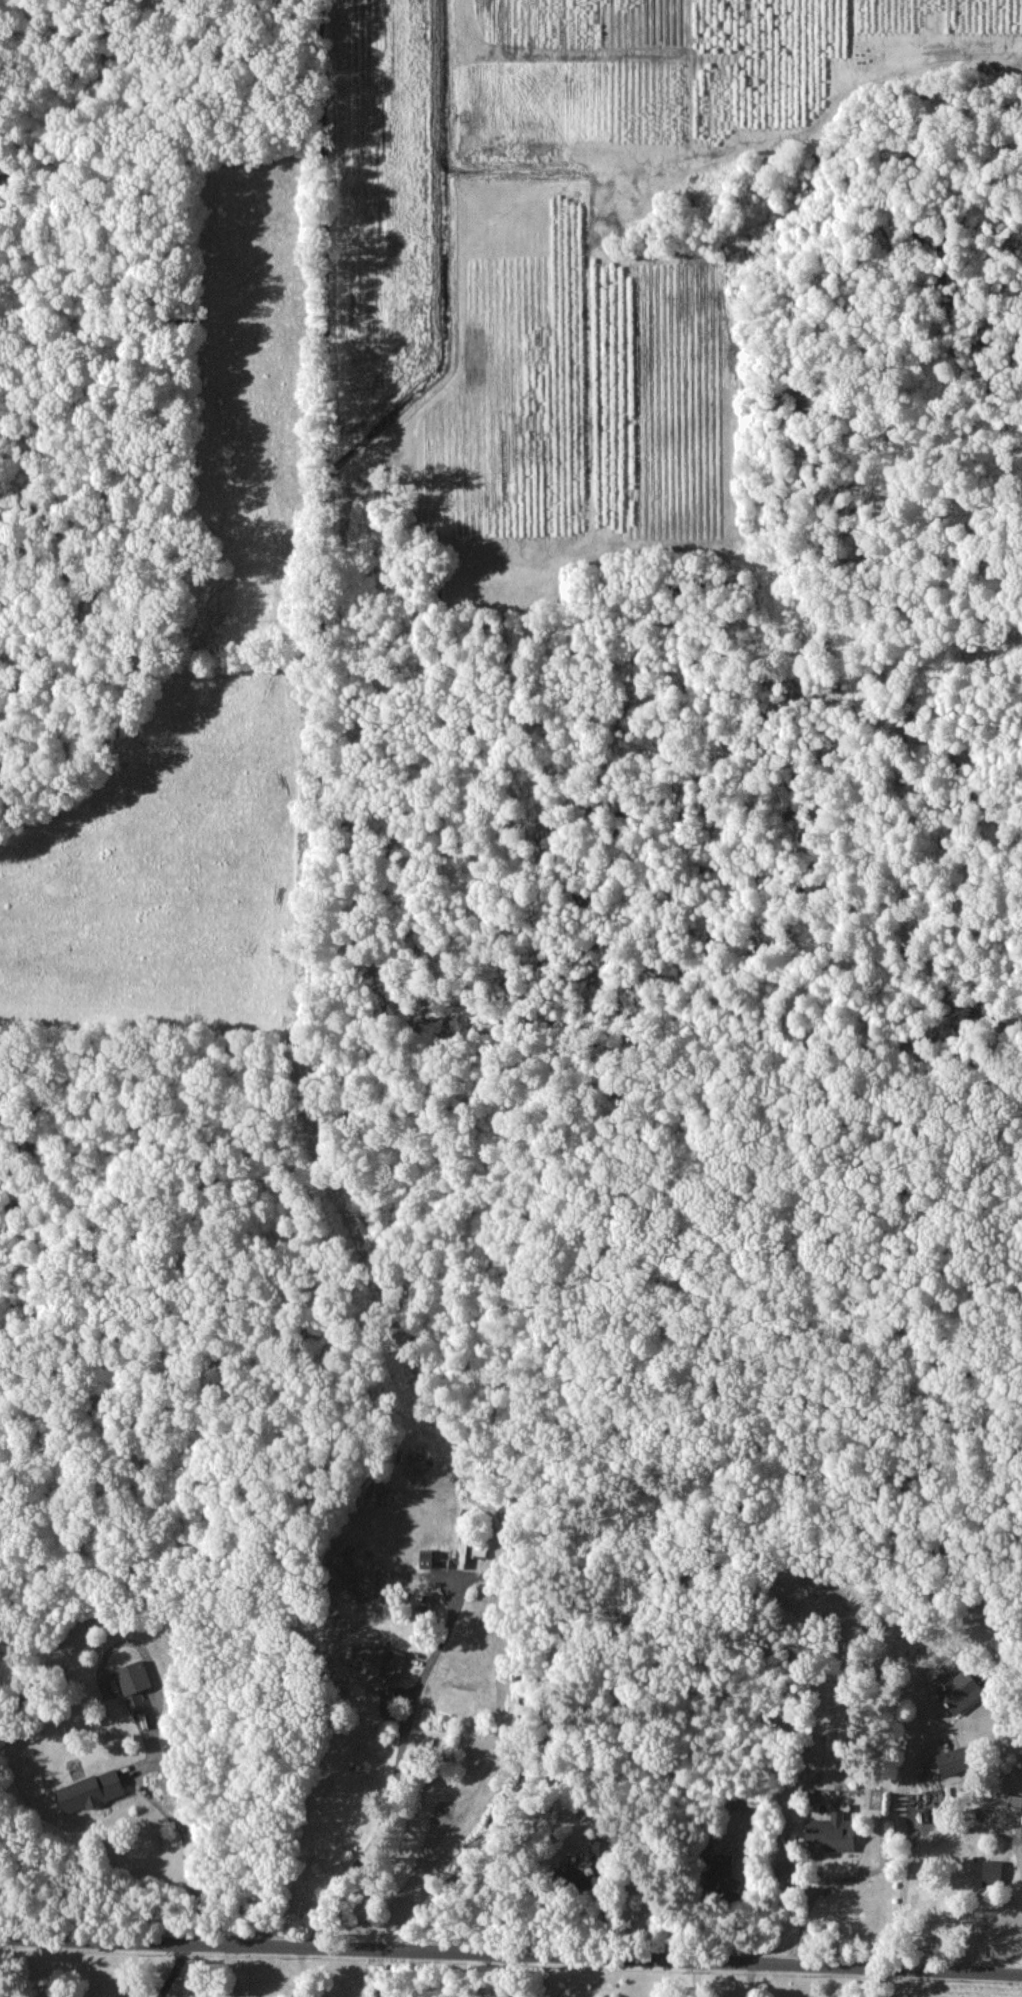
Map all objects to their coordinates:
building: (375, 1659)
building: (133, 1682)
building: (957, 1689)
building: (951, 1760)
building: (91, 1790)
road: (393, 1797)
building: (1014, 1799)
road: (179, 1815)
building: (831, 1831)
road: (939, 1832)
road: (900, 1850)
building: (991, 1872)
building: (568, 1877)
building: (724, 1877)
road: (807, 1903)
road: (511, 1951)
road: (513, 1974)
road: (693, 1978)
road: (747, 1979)

